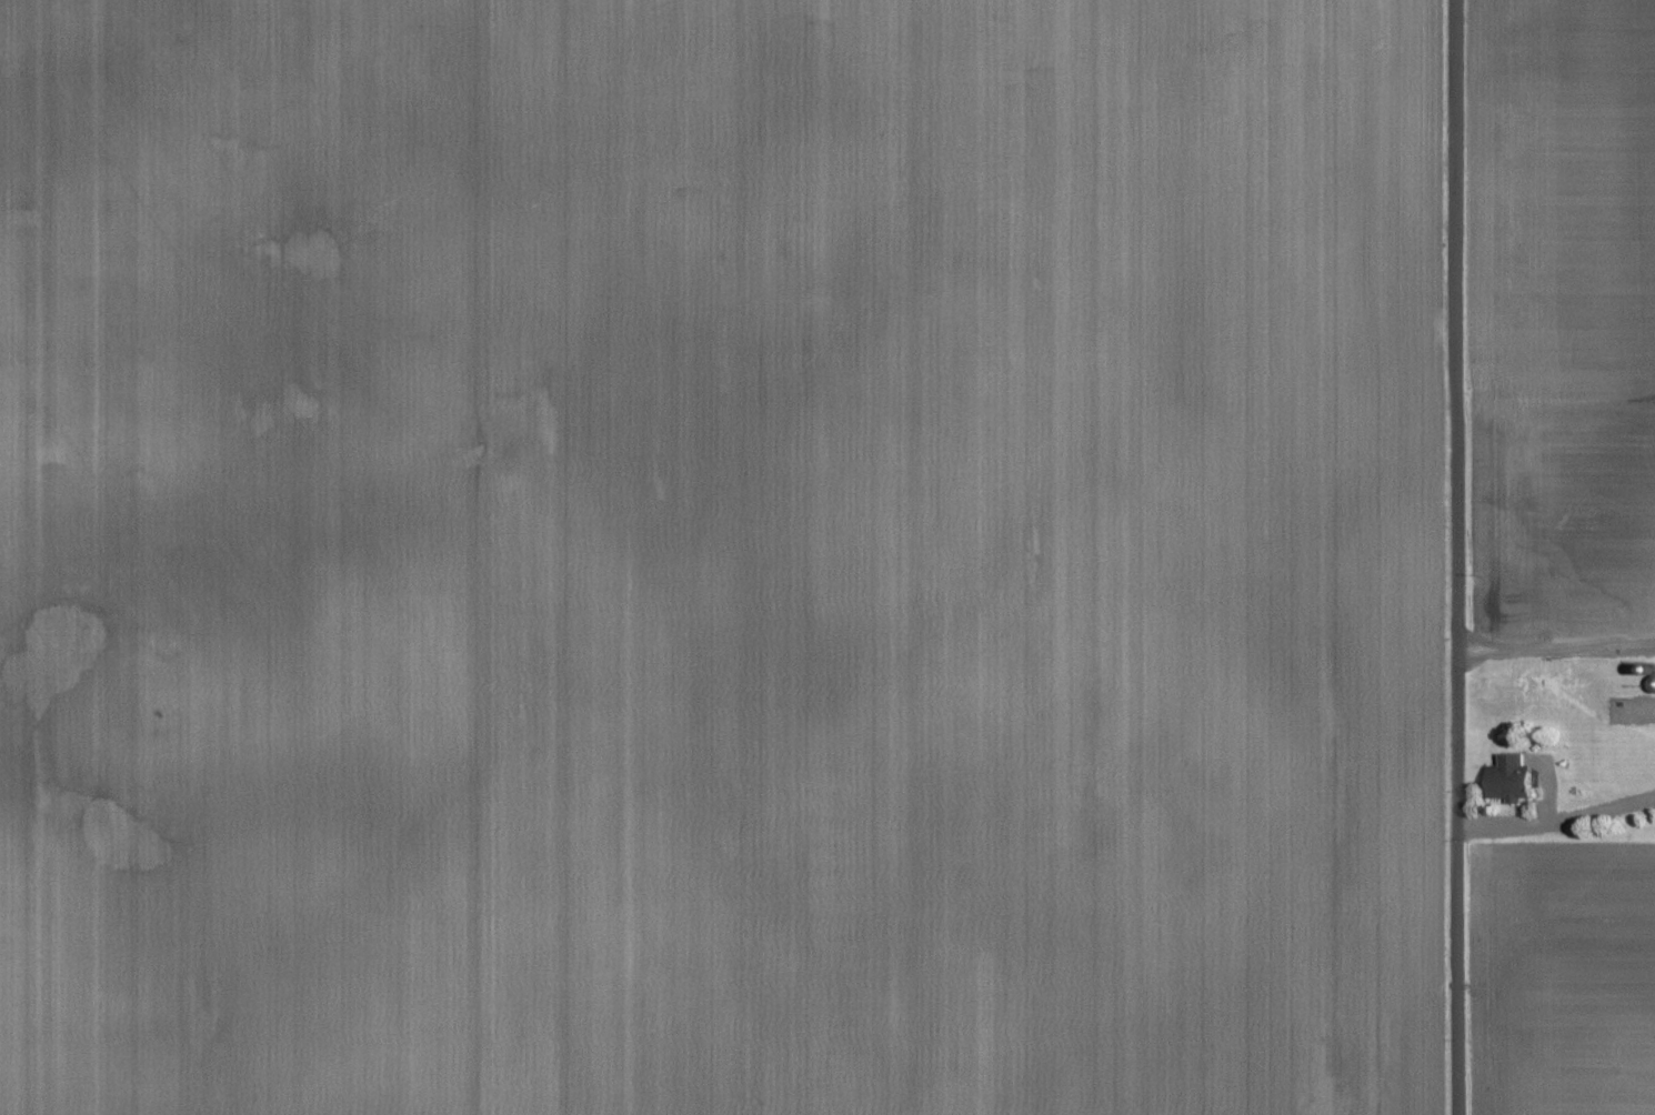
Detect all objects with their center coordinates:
road: (1458, 557)
road: (1556, 647)
building: (1514, 776)
road: (1557, 818)

